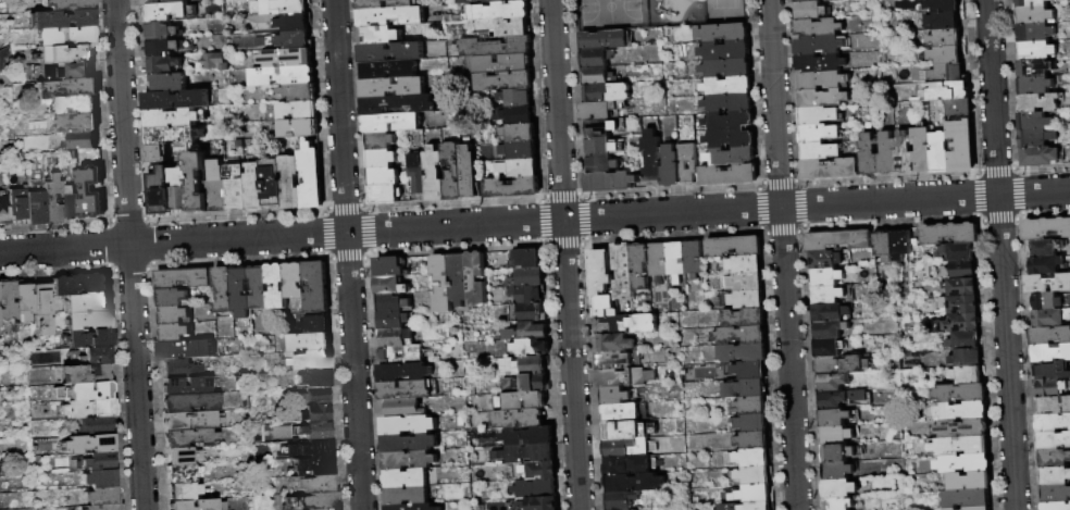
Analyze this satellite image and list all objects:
building: (206, 0)
building: (523, 0)
building: (492, 1)
building: (806, 1)
building: (164, 2)
building: (462, 2)
building: (1033, 3)
building: (66, 4)
building: (383, 4)
building: (943, 5)
building: (279, 7)
building: (446, 9)
park: (721, 11)
building: (811, 11)
building: (167, 12)
building: (496, 12)
park: (608, 13)
park: (657, 13)
building: (1034, 15)
building: (389, 16)
building: (61, 18)
building: (447, 18)
building: (944, 21)
building: (293, 23)
building: (505, 27)
building: (819, 28)
building: (161, 30)
building: (724, 34)
building: (1035, 34)
building: (65, 36)
building: (381, 36)
building: (946, 38)
building: (295, 40)
building: (606, 41)
building: (820, 46)
building: (163, 47)
building: (496, 47)
building: (1036, 51)
building: (389, 52)
building: (725, 52)
building: (66, 53)
building: (946, 55)
building: (4, 58)
building: (286, 58)
building: (596, 59)
building: (214, 62)
building: (820, 63)
building: (501, 64)
building: (162, 65)
building: (726, 69)
building: (1035, 69)
building: (387, 70)
building: (65, 71)
building: (949, 74)
building: (282, 76)
building: (598, 76)
building: (503, 80)
building: (821, 80)
building: (170, 83)
building: (1036, 86)
building: (391, 87)
building: (729, 87)
building: (67, 88)
building: (947, 91)
building: (299, 92)
building: (606, 94)
building: (517, 98)
building: (823, 99)
building: (175, 100)
building: (729, 103)
building: (1038, 103)
building: (397, 104)
building: (76, 105)
building: (960, 108)
building: (298, 111)
building: (598, 112)
building: (513, 115)
building: (819, 116)
building: (173, 119)
building: (435, 121)
building: (730, 122)
building: (1034, 122)
building: (391, 123)
building: (76, 124)
building: (37, 125)
building: (298, 128)
building: (601, 129)
building: (519, 133)
building: (819, 134)
building: (173, 135)
building: (1036, 139)
building: (380, 140)
building: (731, 140)
building: (82, 141)
building: (238, 144)
building: (600, 147)
building: (961, 147)
building: (923, 149)
building: (518, 151)
building: (821, 152)
building: (157, 153)
building: (941, 153)
building: (905, 154)
building: (72, 156)
building: (870, 156)
building: (888, 156)
building: (732, 157)
building: (1040, 158)
building: (381, 159)
building: (652, 160)
building: (601, 164)
building: (687, 164)
building: (671, 167)
building: (518, 169)
building: (831, 170)
building: (452, 172)
building: (468, 172)
building: (418, 173)
building: (434, 175)
building: (382, 176)
building: (729, 176)
building: (310, 177)
building: (196, 183)
building: (290, 183)
building: (610, 183)
building: (272, 184)
building: (235, 188)
building: (253, 188)
building: (509, 188)
building: (178, 189)
building: (401, 190)
building: (216, 191)
building: (90, 192)
building: (160, 195)
building: (383, 195)
building: (53, 199)
building: (17, 203)
building: (71, 203)
building: (36, 208)
building: (4, 210)
road: (534, 221)
building: (1046, 229)
building: (950, 235)
building: (916, 237)
building: (838, 240)
building: (900, 245)
building: (884, 247)
building: (734, 248)
building: (1046, 248)
building: (955, 253)
road: (128, 254)
road: (347, 254)
road: (564, 254)
road: (782, 254)
road: (1000, 254)
building: (694, 259)
building: (524, 260)
building: (826, 261)
building: (659, 262)
building: (676, 262)
building: (745, 265)
building: (389, 266)
building: (1046, 266)
building: (640, 268)
building: (624, 271)
building: (961, 271)
building: (600, 272)
building: (530, 277)
building: (183, 278)
building: (459, 278)
building: (475, 278)
building: (826, 278)
building: (294, 281)
building: (441, 283)
building: (512, 283)
building: (744, 283)
building: (82, 284)
building: (1048, 284)
building: (390, 286)
building: (258, 287)
building: (275, 287)
building: (315, 287)
building: (960, 287)
building: (224, 290)
building: (241, 291)
building: (525, 294)
building: (829, 296)
building: (173, 298)
building: (8, 300)
building: (23, 300)
building: (743, 300)
building: (88, 302)
building: (1049, 302)
building: (391, 303)
building: (959, 304)
building: (42, 307)
building: (604, 307)
building: (527, 313)
building: (831, 313)
building: (174, 315)
building: (744, 319)
building: (1050, 319)
building: (89, 320)
building: (393, 320)
building: (314, 324)
building: (958, 324)
building: (625, 325)
building: (830, 331)
building: (527, 332)
building: (175, 333)
building: (741, 336)
building: (1050, 336)
building: (90, 337)
building: (396, 338)
building: (966, 340)
building: (309, 343)
building: (617, 344)
building: (531, 348)
building: (829, 349)
building: (187, 350)
building: (744, 353)
building: (1050, 353)
building: (400, 354)
building: (95, 356)
building: (968, 359)
building: (308, 361)
building: (613, 361)
building: (506, 364)
building: (531, 365)
building: (842, 365)
building: (176, 369)
building: (750, 371)
building: (1052, 371)
building: (402, 372)
building: (86, 373)
building: (968, 375)
building: (314, 377)
building: (624, 378)
building: (833, 383)
building: (534, 384)
building: (186, 385)
building: (510, 385)
building: (1054, 388)
building: (746, 389)
building: (84, 390)
building: (407, 390)
building: (961, 394)
building: (313, 396)
building: (615, 397)
building: (844, 400)
building: (521, 401)
building: (189, 402)
building: (752, 407)
building: (1053, 407)
building: (88, 408)
building: (403, 408)
building: (962, 412)
building: (315, 413)
building: (622, 413)
building: (518, 419)
building: (835, 419)
building: (190, 420)
building: (407, 424)
building: (752, 424)
building: (1054, 424)
building: (97, 425)
building: (316, 430)
building: (962, 430)
building: (627, 432)
building: (527, 436)
building: (837, 436)
building: (189, 437)
building: (754, 441)
building: (1054, 441)
building: (88, 443)
building: (408, 443)
building: (960, 447)
building: (316, 448)
building: (619, 448)
building: (528, 453)
building: (838, 453)
building: (182, 456)
building: (495, 456)
building: (750, 459)
building: (408, 460)
building: (1054, 460)
building: (100, 461)
building: (965, 464)
building: (313, 465)
building: (626, 467)
building: (537, 471)
building: (837, 471)
building: (183, 473)
building: (756, 476)
building: (1055, 477)
building: (100, 478)
building: (406, 478)
building: (970, 482)
building: (313, 483)
building: (634, 484)
building: (535, 489)
building: (839, 489)
building: (184, 490)
building: (749, 495)
building: (1056, 495)
building: (101, 496)
building: (407, 496)
building: (475, 497)
building: (967, 499)
building: (320, 500)
building: (622, 500)
building: (293, 501)
building: (538, 503)
building: (838, 503)
building: (198, 505)
building: (104, 507)
building: (412, 507)
building: (749, 507)
building: (1056, 507)
building: (981, 508)
building: (328, 509)
building: (953, 509)

